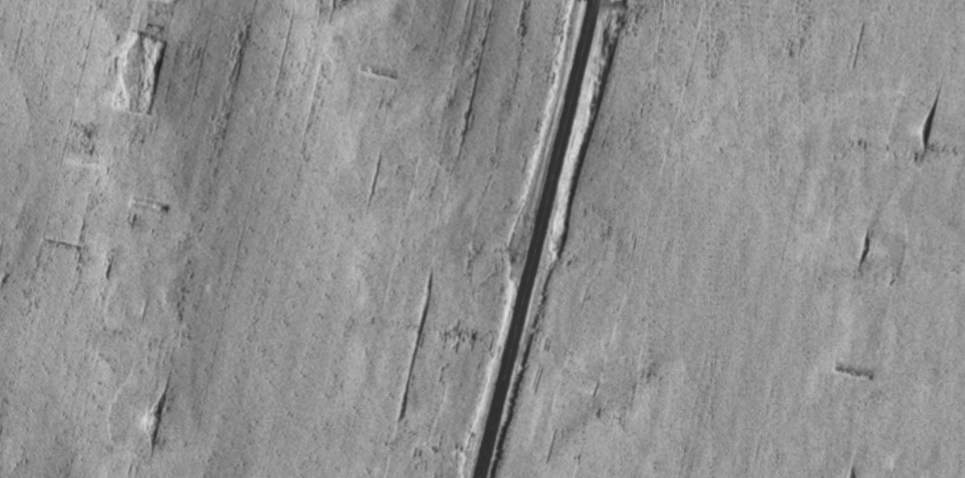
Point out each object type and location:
road: (538, 239)

